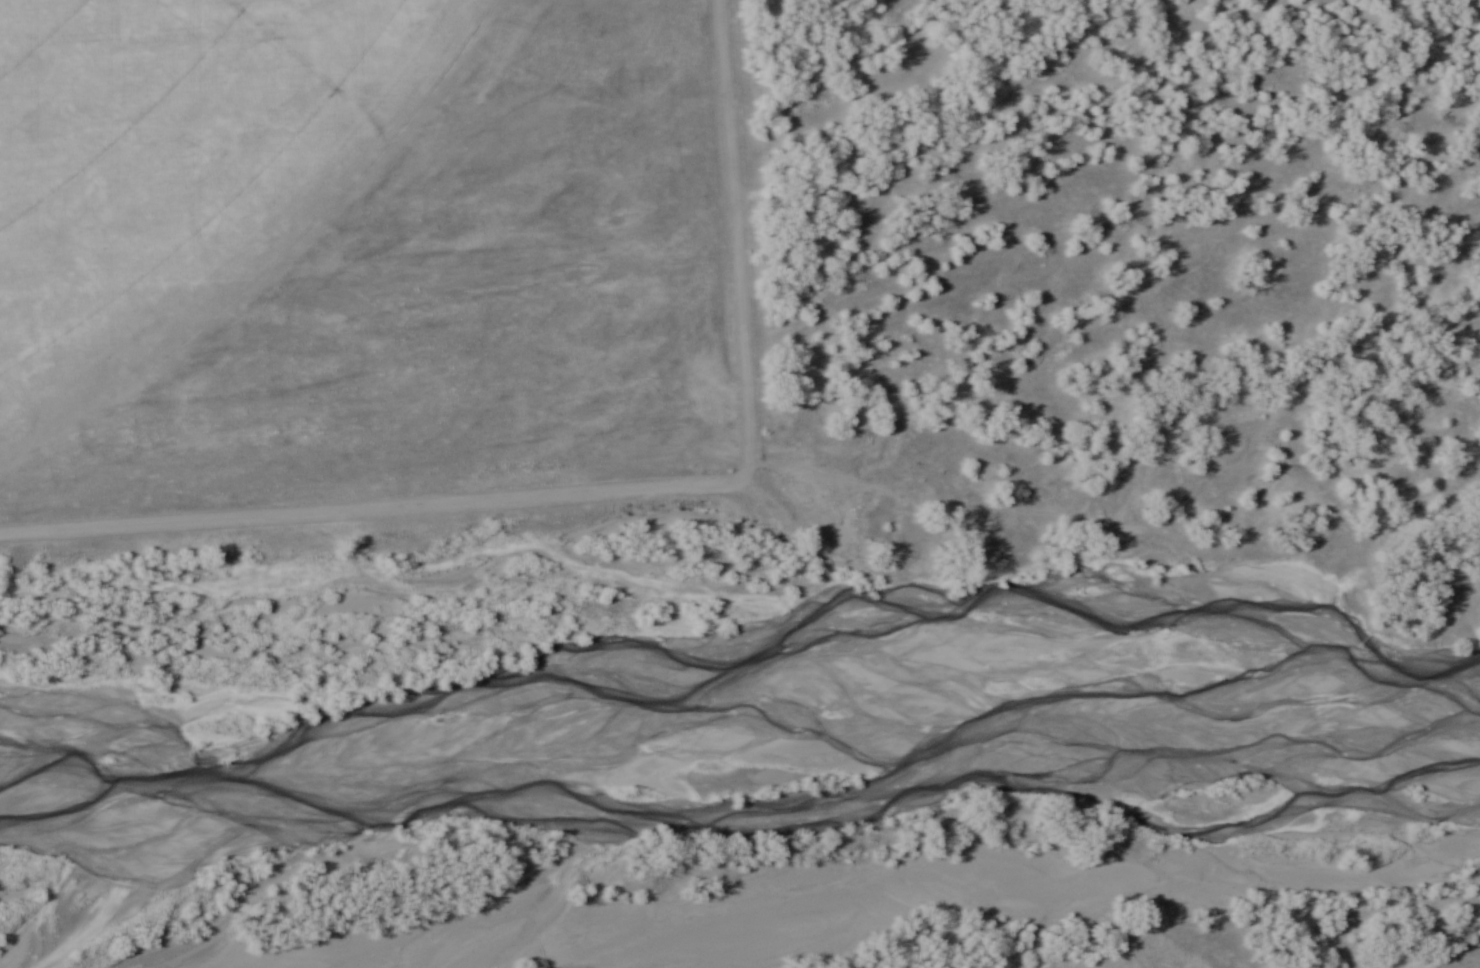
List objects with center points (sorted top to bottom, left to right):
river: (716, 694)

